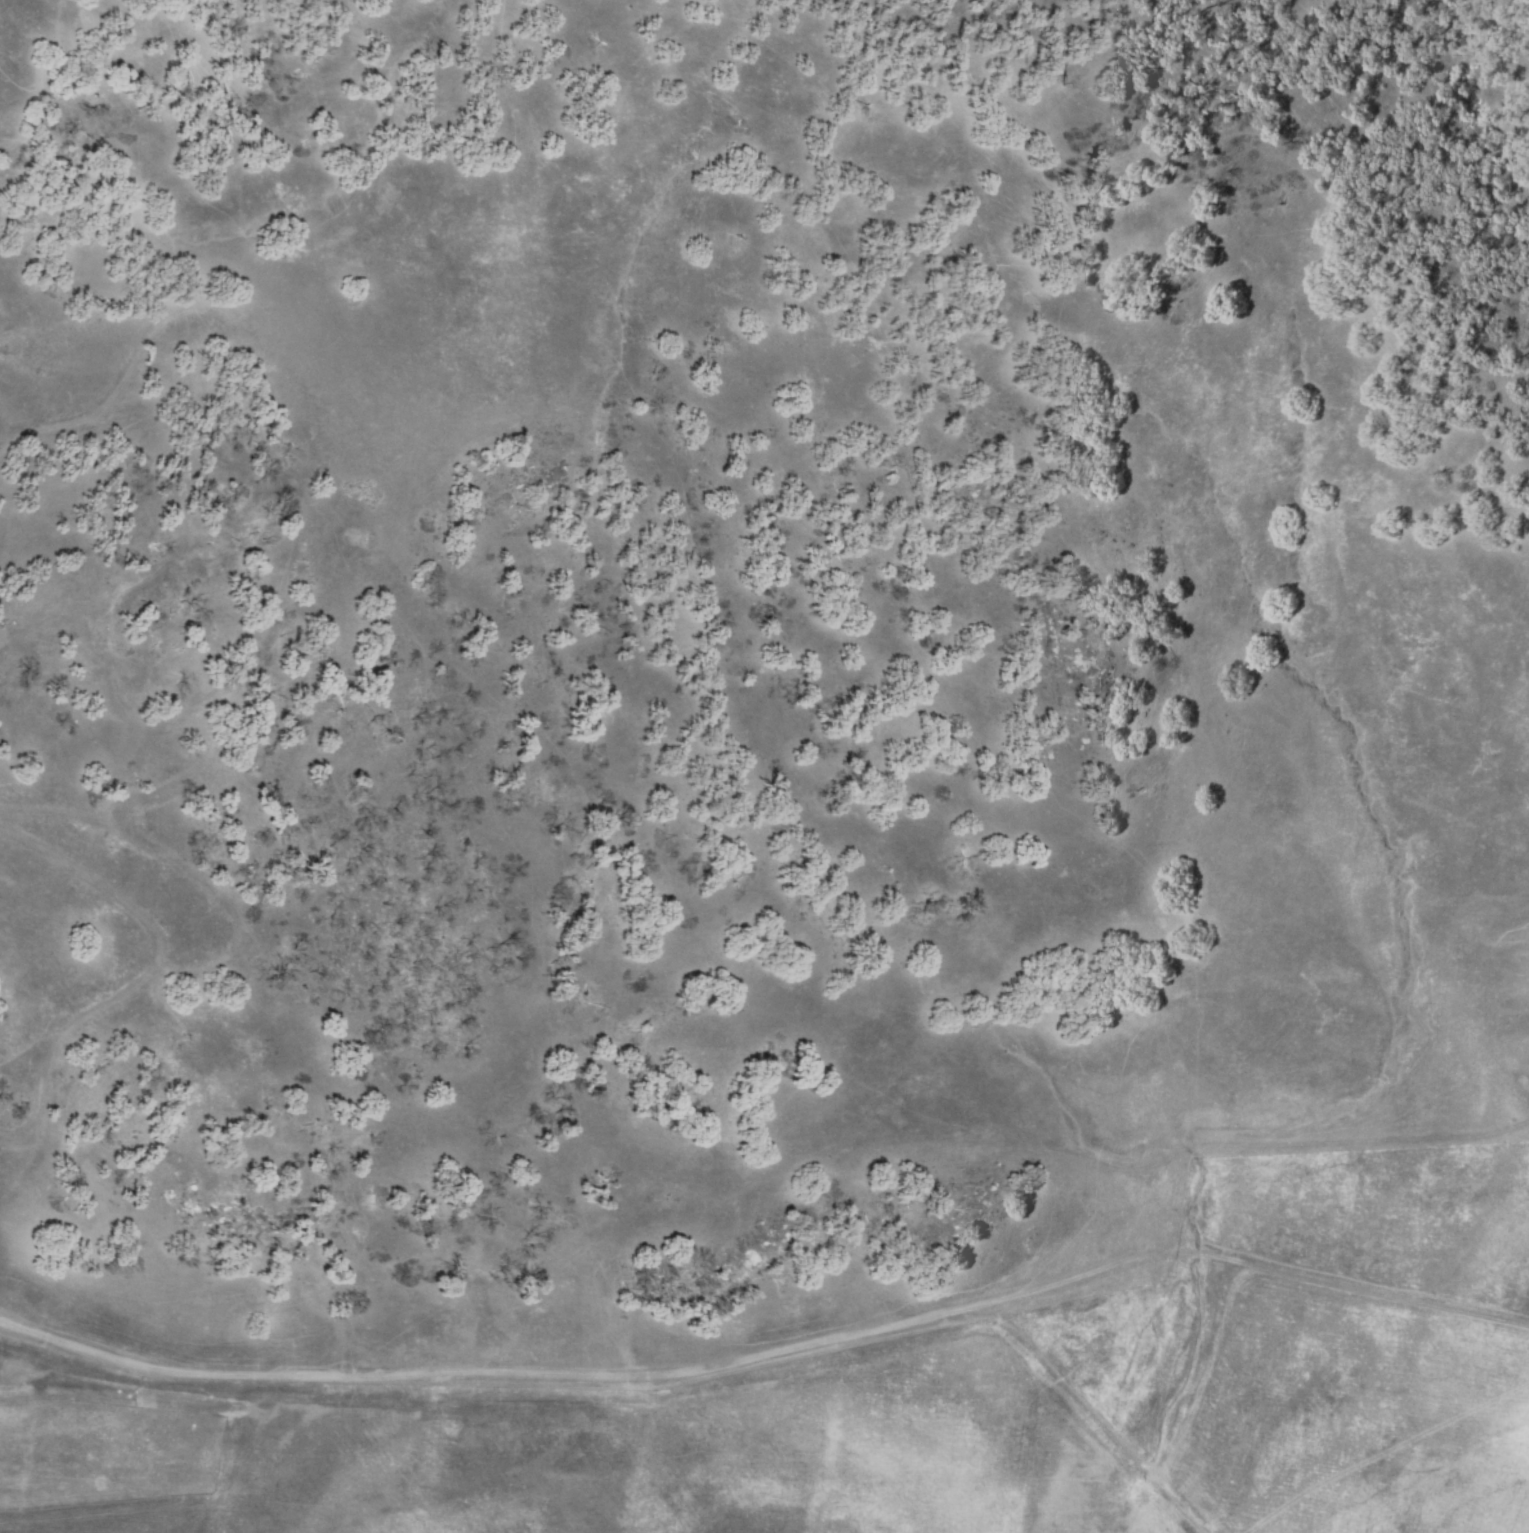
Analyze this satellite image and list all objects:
road: (770, 1350)

